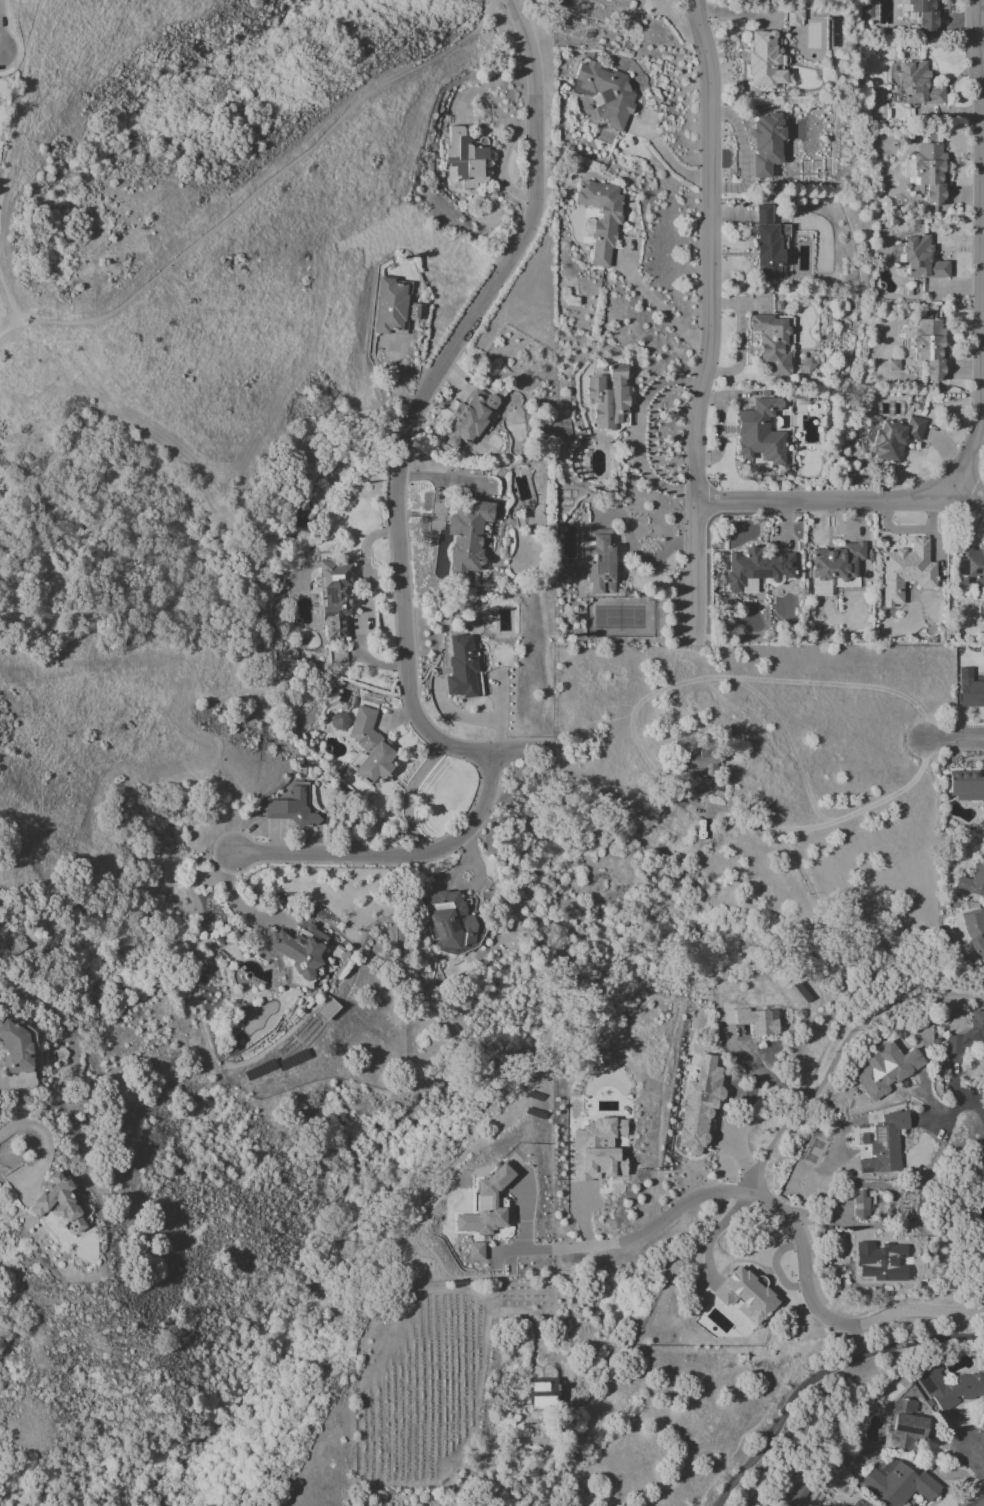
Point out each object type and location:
building: (868, 11)
building: (923, 14)
building: (793, 18)
building: (764, 60)
building: (917, 84)
building: (606, 92)
road: (12, 107)
building: (766, 143)
road: (665, 156)
building: (465, 158)
building: (927, 171)
road: (256, 188)
building: (601, 216)
building: (769, 245)
building: (920, 258)
road: (7, 295)
building: (391, 306)
road: (657, 312)
road: (707, 320)
building: (772, 343)
building: (929, 347)
road: (979, 379)
building: (608, 397)
road: (411, 417)
building: (469, 419)
building: (760, 432)
building: (894, 438)
road: (971, 496)
building: (467, 535)
building: (599, 560)
building: (837, 562)
building: (757, 567)
building: (970, 567)
building: (905, 571)
building: (336, 597)
building: (461, 667)
building: (969, 689)
building: (339, 720)
road: (956, 740)
building: (368, 747)
building: (697, 763)
building: (965, 785)
building: (290, 809)
road: (833, 821)
road: (395, 856)
building: (973, 880)
road: (233, 900)
building: (452, 922)
building: (975, 931)
building: (297, 947)
building: (758, 1021)
building: (15, 1048)
building: (886, 1069)
building: (700, 1104)
road: (968, 1109)
road: (37, 1127)
building: (884, 1144)
building: (597, 1150)
road: (759, 1179)
building: (58, 1201)
building: (862, 1204)
building: (487, 1205)
road: (983, 1211)
road: (629, 1241)
building: (475, 1250)
building: (880, 1261)
building: (745, 1295)
road: (568, 1315)
road: (822, 1376)
building: (949, 1387)
building: (544, 1393)
building: (904, 1426)
road: (975, 1459)
building: (898, 1484)
building: (799, 1495)
building: (855, 1504)
road: (982, 1505)

